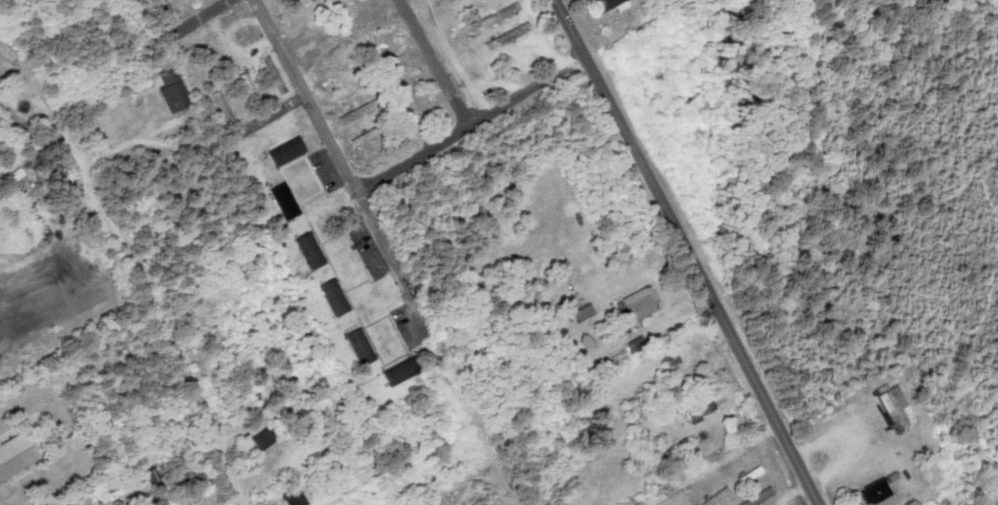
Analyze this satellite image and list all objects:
building: (193, 0)
building: (281, 2)
building: (606, 3)
building: (168, 7)
building: (499, 14)
building: (381, 32)
building: (507, 35)
building: (398, 52)
building: (187, 64)
road: (431, 64)
building: (329, 69)
building: (273, 74)
building: (407, 76)
building: (248, 85)
building: (172, 90)
building: (343, 90)
building: (222, 105)
building: (356, 112)
road: (472, 123)
building: (362, 136)
building: (285, 151)
building: (283, 200)
building: (309, 250)
road: (388, 251)
road: (690, 252)
building: (333, 297)
building: (638, 305)
building: (582, 312)
building: (359, 346)
building: (671, 359)
building: (399, 371)
road: (196, 402)
building: (699, 408)
building: (896, 409)
building: (263, 437)
road: (711, 463)
building: (749, 474)
building: (874, 491)
building: (715, 496)
building: (294, 497)
building: (756, 498)

